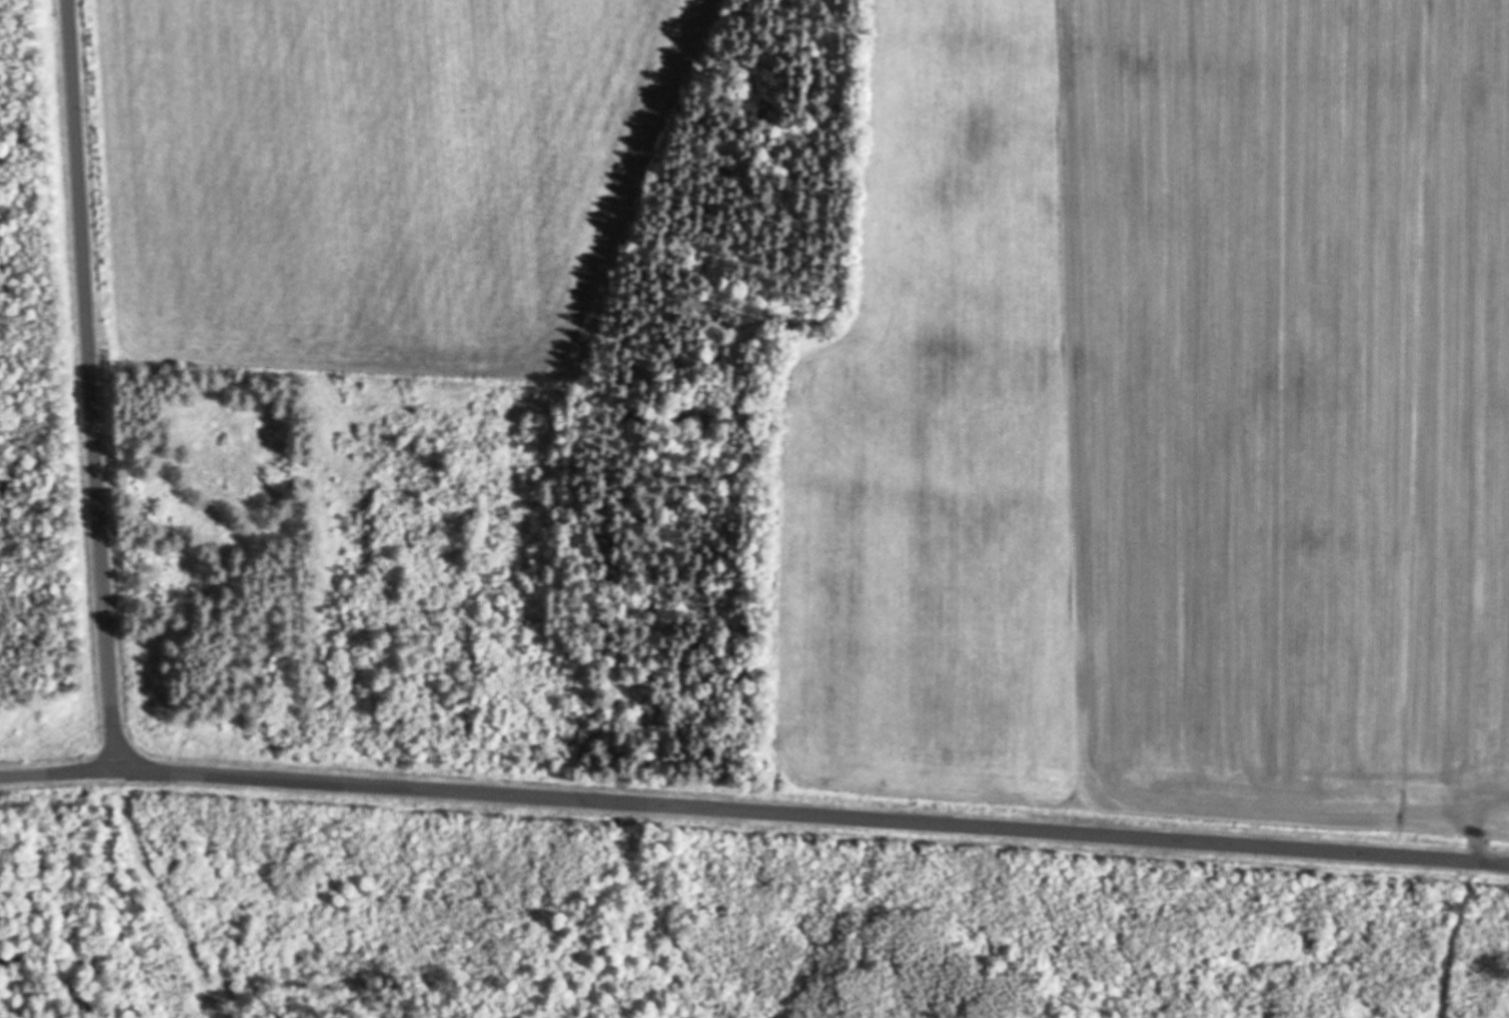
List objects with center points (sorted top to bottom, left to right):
road: (90, 384)
road: (57, 770)
road: (812, 813)

